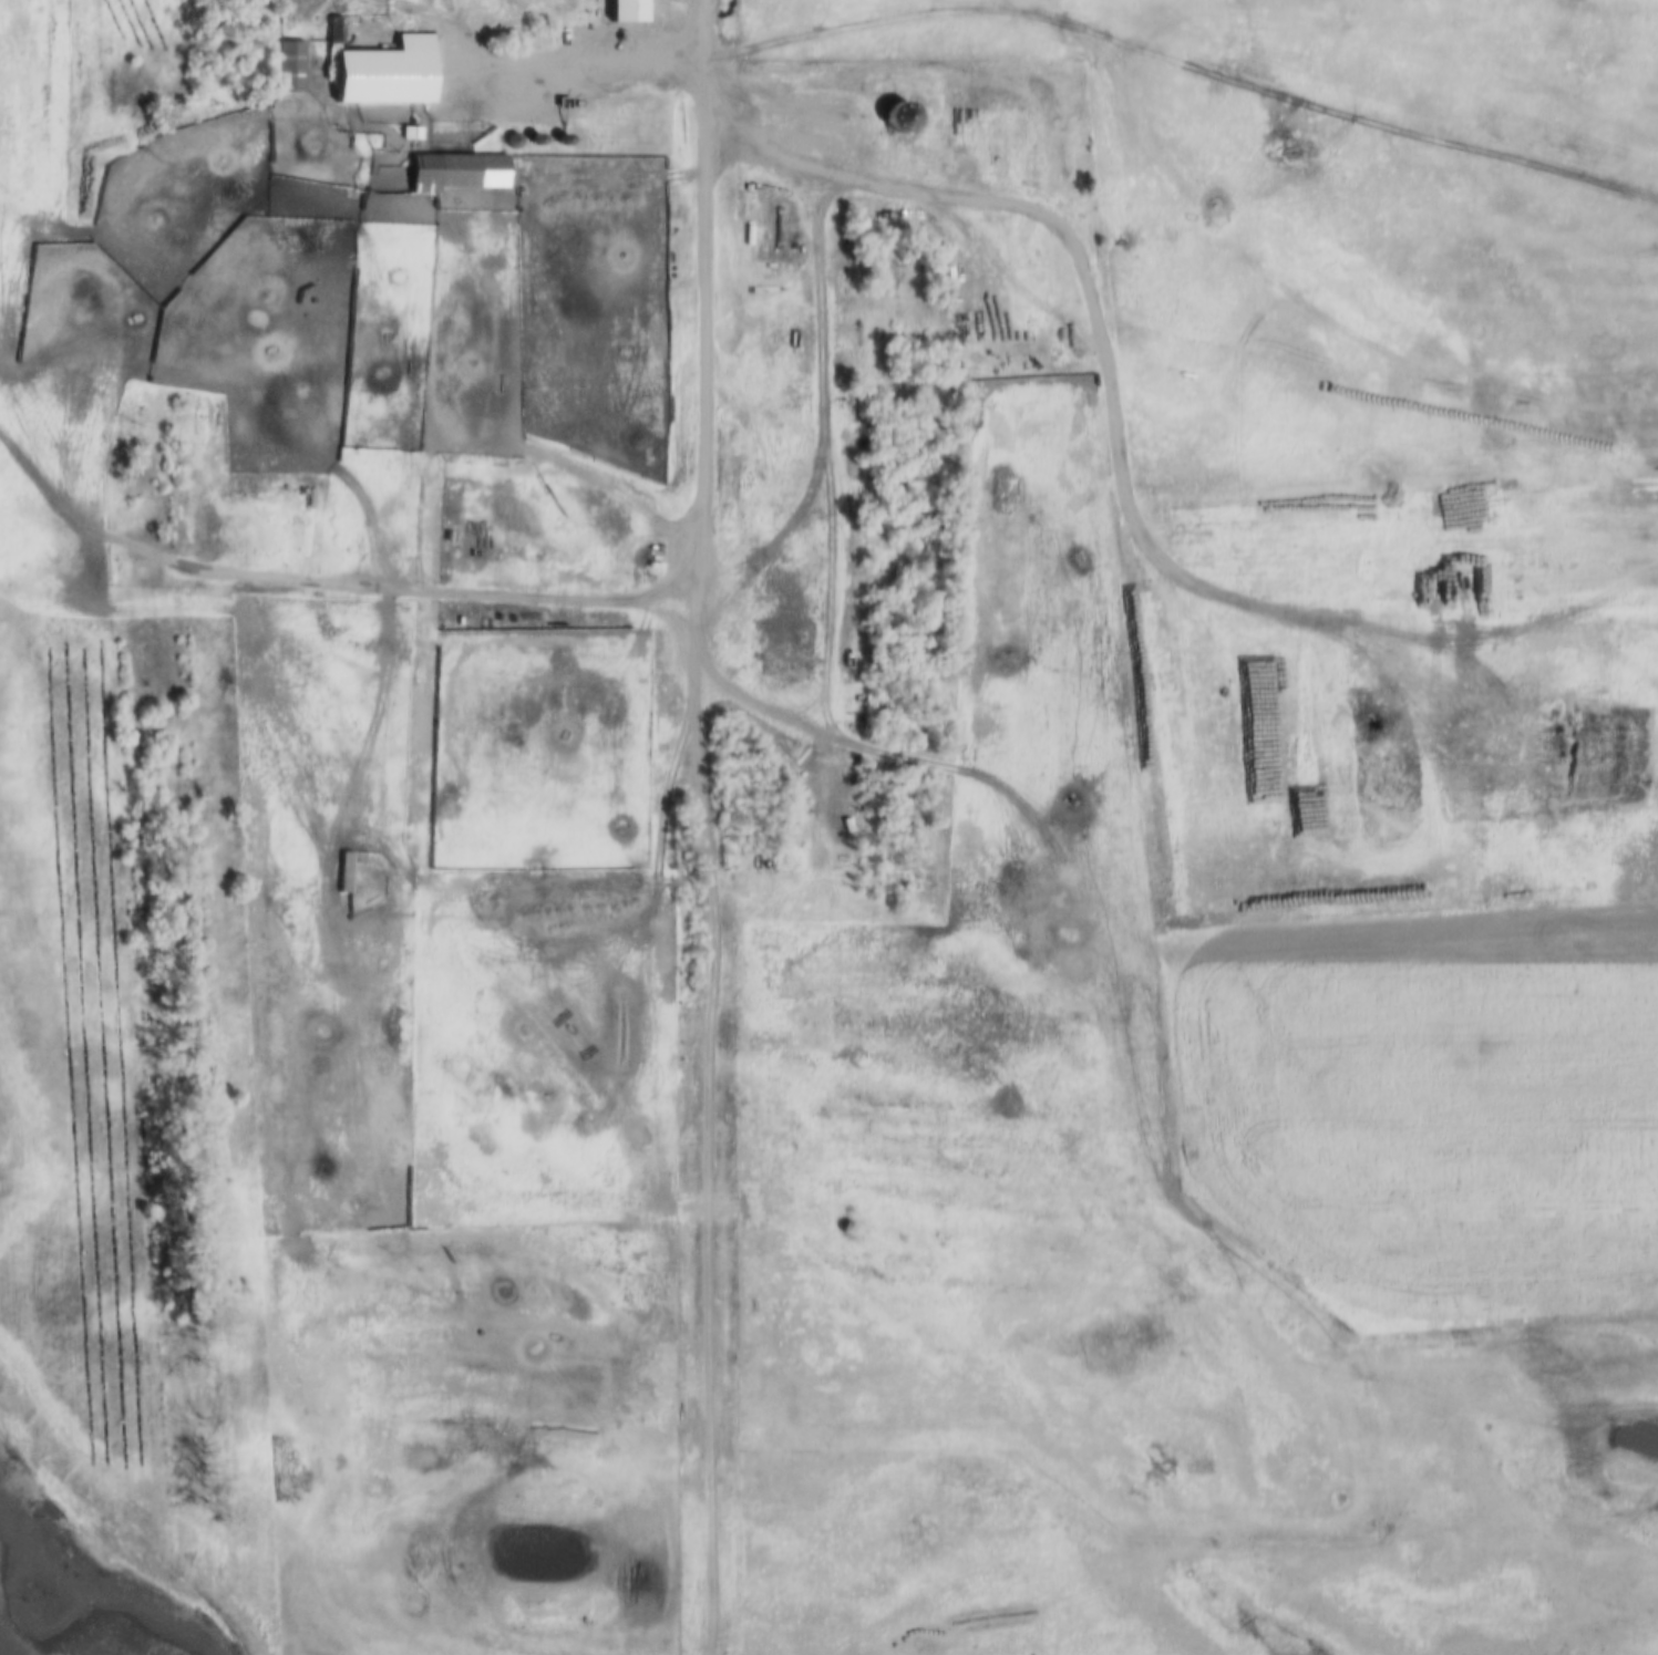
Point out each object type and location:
building: (514, 9)
building: (631, 11)
building: (337, 31)
road: (580, 63)
building: (291, 66)
building: (411, 133)
road: (163, 154)
building: (459, 168)
road: (1072, 214)
road: (707, 294)
building: (548, 666)
road: (708, 1123)

